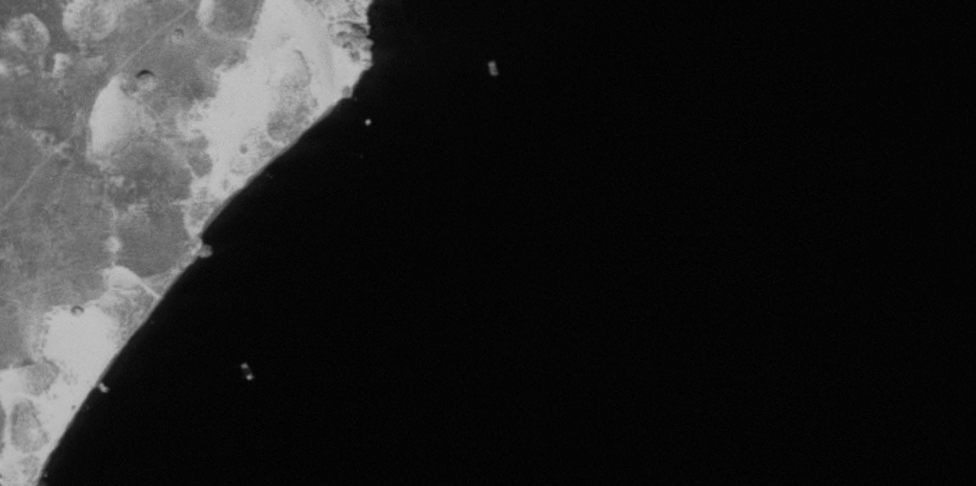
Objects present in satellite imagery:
park: (139, 172)

